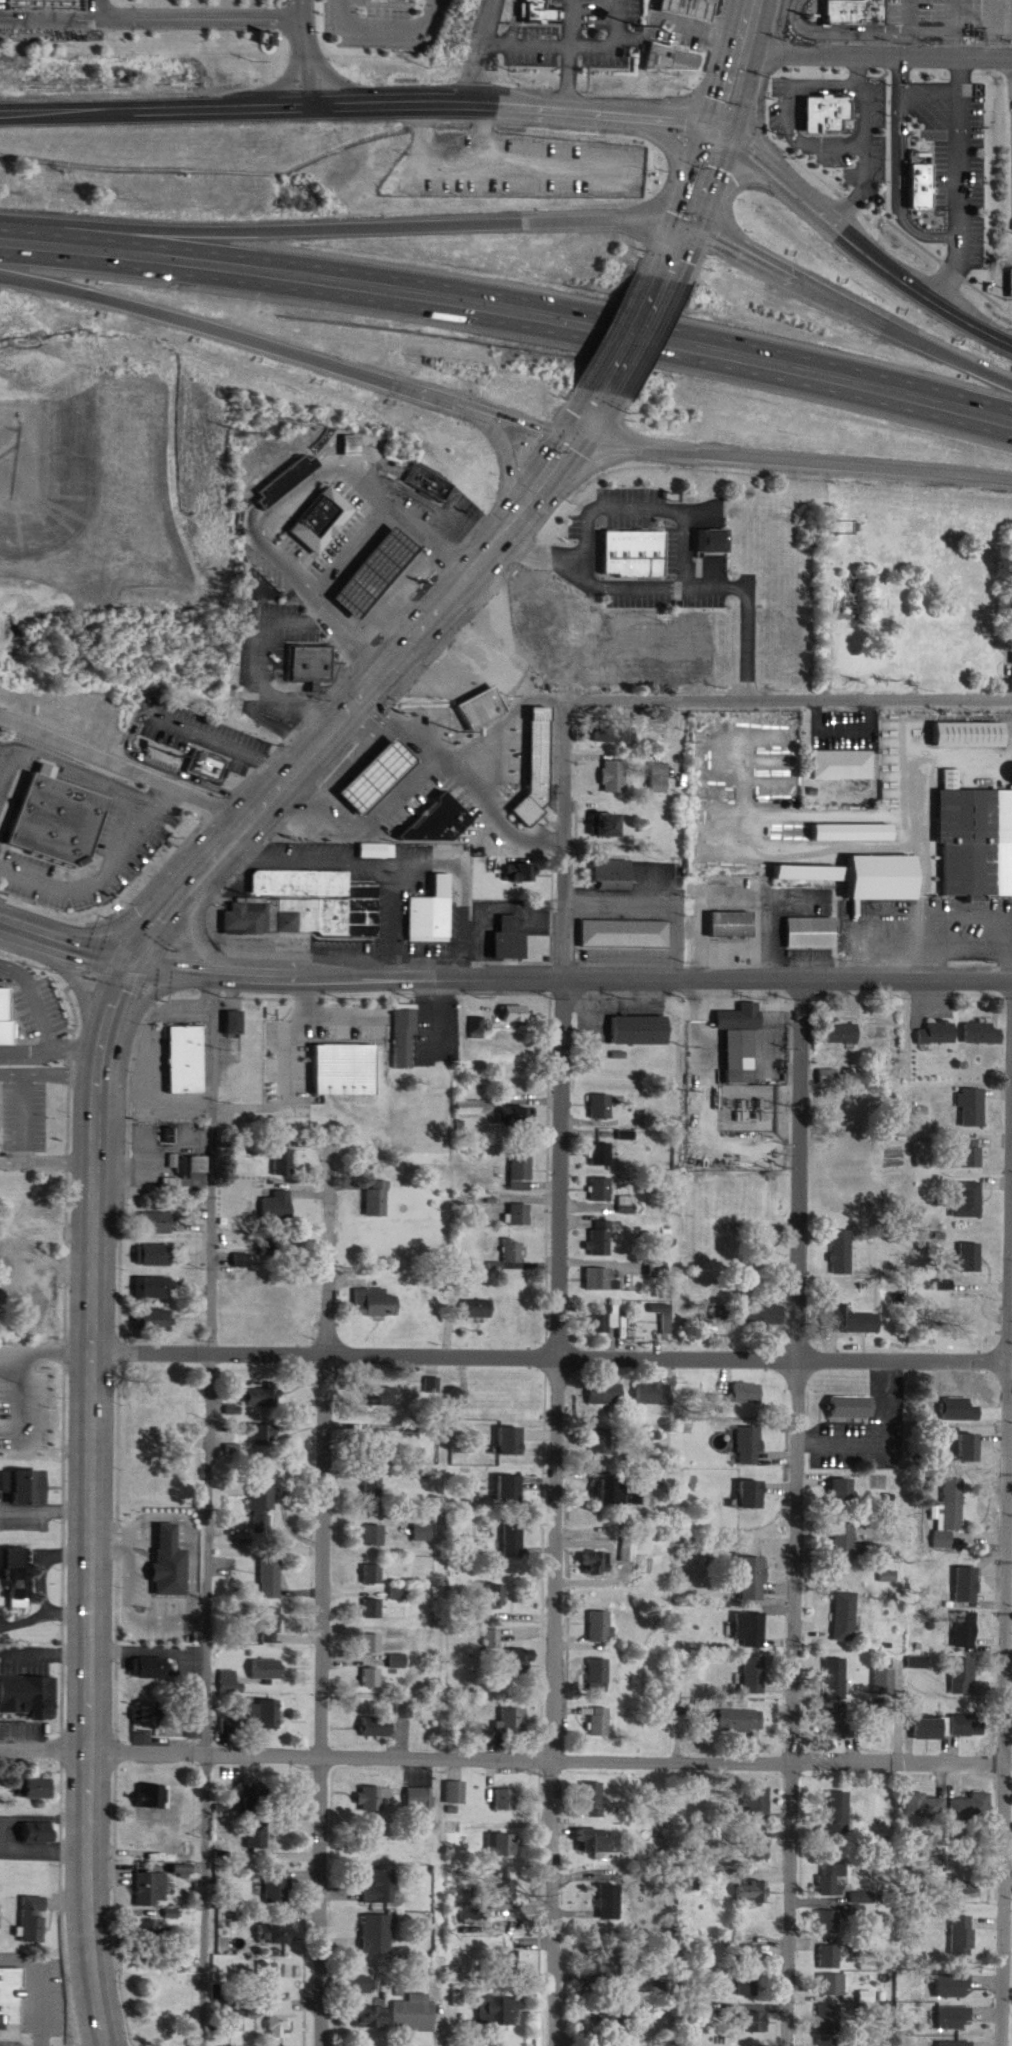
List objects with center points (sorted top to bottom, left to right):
road: (91, 2)
gas station: (684, 2)
building: (536, 3)
road: (148, 4)
building: (850, 6)
building: (689, 8)
parking lot: (196, 12)
road: (392, 23)
road: (904, 27)
road: (953, 28)
road: (990, 28)
road: (606, 38)
road: (545, 42)
road: (309, 45)
building: (664, 45)
road: (479, 46)
road: (881, 54)
building: (678, 60)
road: (566, 71)
road: (928, 88)
road: (545, 97)
building: (822, 101)
road: (731, 110)
road: (790, 111)
building: (796, 116)
road: (863, 140)
road: (897, 166)
parking lot: (516, 170)
building: (917, 173)
road: (958, 180)
road: (346, 216)
road: (680, 244)
building: (1010, 269)
road: (508, 296)
road: (850, 296)
road: (509, 324)
road: (637, 330)
road: (288, 351)
road: (792, 463)
building: (277, 468)
building: (425, 470)
road: (284, 489)
building: (312, 505)
building: (707, 526)
building: (630, 541)
building: (714, 542)
gas station: (366, 559)
road: (667, 577)
gas station: (468, 641)
building: (479, 657)
building: (310, 665)
road: (374, 681)
road: (787, 688)
building: (476, 696)
building: (484, 710)
road: (224, 731)
building: (616, 736)
building: (973, 737)
road: (263, 750)
building: (203, 752)
road: (172, 757)
road: (471, 760)
gas station: (370, 761)
road: (122, 762)
building: (845, 767)
building: (538, 772)
building: (616, 778)
building: (50, 807)
building: (430, 809)
road: (364, 821)
building: (610, 827)
building: (856, 834)
building: (976, 841)
road: (926, 859)
road: (386, 860)
building: (616, 873)
building: (813, 875)
building: (888, 880)
road: (489, 906)
building: (306, 907)
road: (650, 909)
building: (731, 911)
building: (433, 915)
road: (394, 916)
building: (735, 926)
building: (815, 935)
road: (62, 936)
building: (628, 936)
road: (203, 941)
building: (512, 941)
road: (88, 946)
road: (122, 971)
road: (568, 973)
road: (76, 976)
building: (737, 1003)
building: (23, 1014)
building: (518, 1015)
building: (2, 1018)
building: (235, 1024)
building: (643, 1032)
building: (938, 1034)
building: (844, 1035)
building: (985, 1035)
building: (407, 1040)
building: (735, 1042)
building: (289, 1052)
building: (341, 1057)
building: (187, 1061)
road: (281, 1070)
road: (49, 1074)
building: (603, 1107)
building: (975, 1109)
building: (519, 1118)
road: (155, 1134)
building: (170, 1138)
building: (972, 1155)
building: (603, 1156)
building: (285, 1165)
road: (49, 1170)
building: (523, 1173)
building: (190, 1182)
building: (603, 1191)
building: (379, 1200)
building: (970, 1203)
building: (279, 1206)
building: (520, 1216)
building: (158, 1225)
building: (602, 1240)
building: (278, 1248)
building: (515, 1253)
building: (762, 1253)
building: (843, 1254)
building: (155, 1257)
building: (972, 1259)
building: (601, 1281)
building: (29, 1286)
building: (154, 1290)
road: (50, 1291)
building: (377, 1305)
building: (480, 1310)
building: (766, 1316)
building: (606, 1321)
building: (155, 1322)
building: (667, 1322)
building: (851, 1323)
building: (701, 1330)
road: (551, 1347)
road: (45, 1349)
road: (556, 1369)
building: (34, 1385)
building: (654, 1395)
building: (747, 1395)
building: (388, 1396)
building: (606, 1396)
building: (848, 1397)
road: (23, 1398)
building: (263, 1398)
parking lot: (881, 1417)
road: (893, 1432)
building: (266, 1435)
building: (34, 1438)
building: (513, 1441)
building: (751, 1447)
building: (30, 1488)
building: (512, 1489)
building: (612, 1492)
building: (376, 1493)
building: (753, 1495)
road: (89, 1500)
building: (955, 1505)
road: (210, 1506)
road: (544, 1509)
building: (264, 1510)
road: (798, 1510)
road: (62, 1511)
building: (426, 1533)
building: (375, 1535)
building: (514, 1537)
building: (847, 1541)
building: (635, 1549)
building: (171, 1563)
building: (597, 1564)
road: (42, 1565)
building: (16, 1570)
building: (375, 1574)
building: (272, 1577)
building: (754, 1580)
building: (969, 1585)
road: (326, 1590)
road: (115, 1592)
building: (375, 1609)
building: (847, 1616)
road: (43, 1617)
building: (272, 1625)
building: (601, 1627)
building: (751, 1630)
building: (968, 1631)
building: (493, 1639)
building: (374, 1644)
road: (44, 1651)
building: (522, 1657)
building: (400, 1662)
building: (150, 1669)
building: (268, 1670)
building: (599, 1676)
building: (756, 1677)
building: (965, 1677)
building: (373, 1678)
building: (837, 1679)
building: (886, 1682)
building: (229, 1683)
building: (27, 1699)
building: (405, 1710)
building: (265, 1712)
building: (514, 1720)
building: (837, 1721)
building: (600, 1722)
building: (742, 1722)
building: (969, 1726)
building: (378, 1727)
building: (931, 1729)
building: (473, 1731)
road: (505, 1749)
road: (1008, 1780)
building: (34, 1790)
building: (457, 1793)
building: (152, 1797)
building: (420, 1798)
building: (372, 1800)
building: (507, 1800)
building: (595, 1800)
building: (759, 1805)
building: (924, 1807)
building: (972, 1807)
building: (840, 1814)
building: (257, 1837)
building: (40, 1839)
building: (596, 1841)
building: (504, 1846)
building: (760, 1851)
building: (185, 1853)
building: (831, 1882)
building: (276, 1888)
building: (378, 1888)
building: (146, 1890)
building: (497, 1892)
building: (751, 1895)
building: (861, 1899)
building: (611, 1903)
building: (33, 1920)
building: (828, 1923)
building: (376, 1935)
building: (961, 1937)
building: (828, 1958)
building: (507, 1960)
building: (609, 1970)
building: (747, 1972)
building: (156, 1975)
building: (364, 1985)
building: (830, 1986)
building: (11, 1998)
building: (456, 2006)
building: (497, 2012)
building: (413, 2014)
building: (278, 2018)
building: (369, 2018)
building: (827, 2020)
building: (611, 2021)
building: (752, 2023)
building: (828, 2043)

